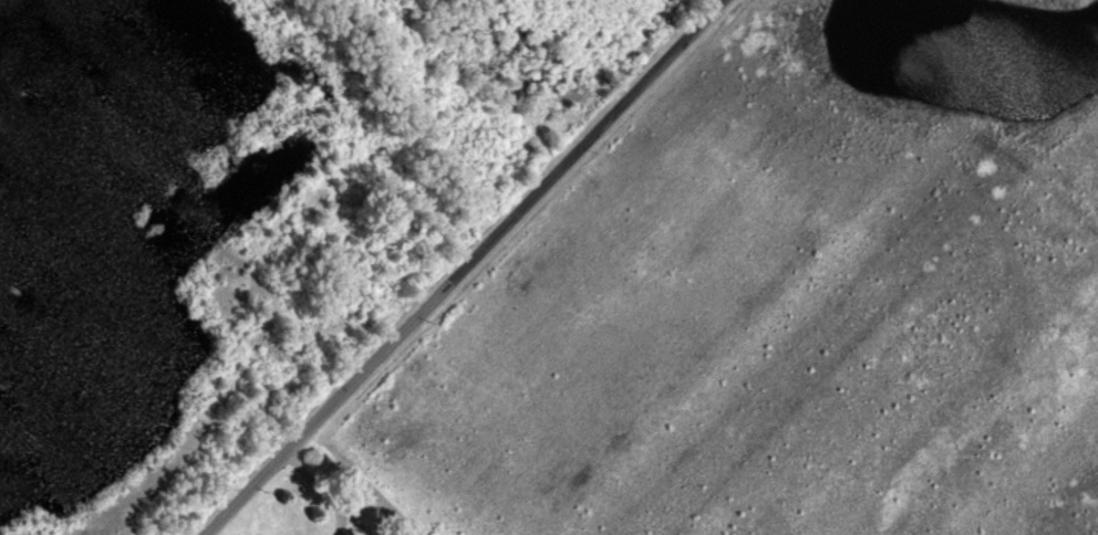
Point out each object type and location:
road: (464, 266)
road: (330, 492)
road: (341, 522)

